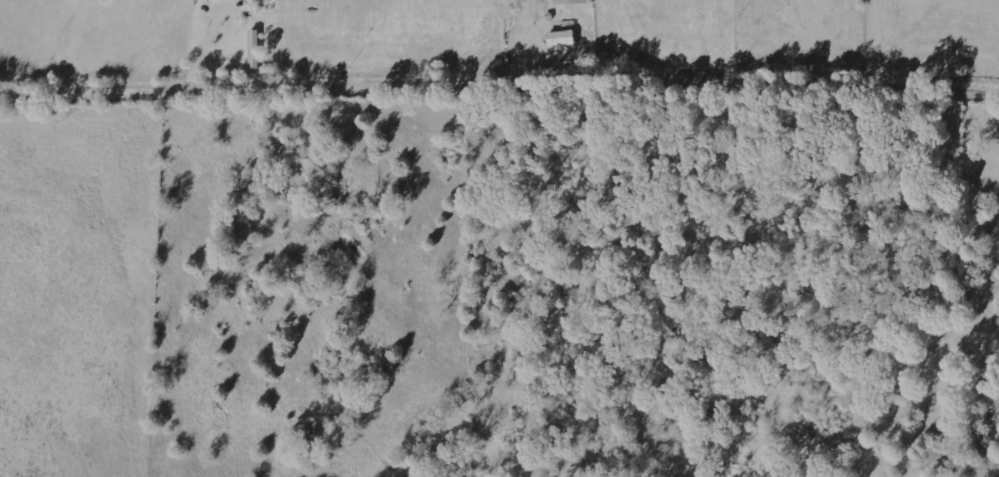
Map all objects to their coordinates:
building: (262, 0)
building: (577, 2)
building: (564, 40)
road: (499, 90)

